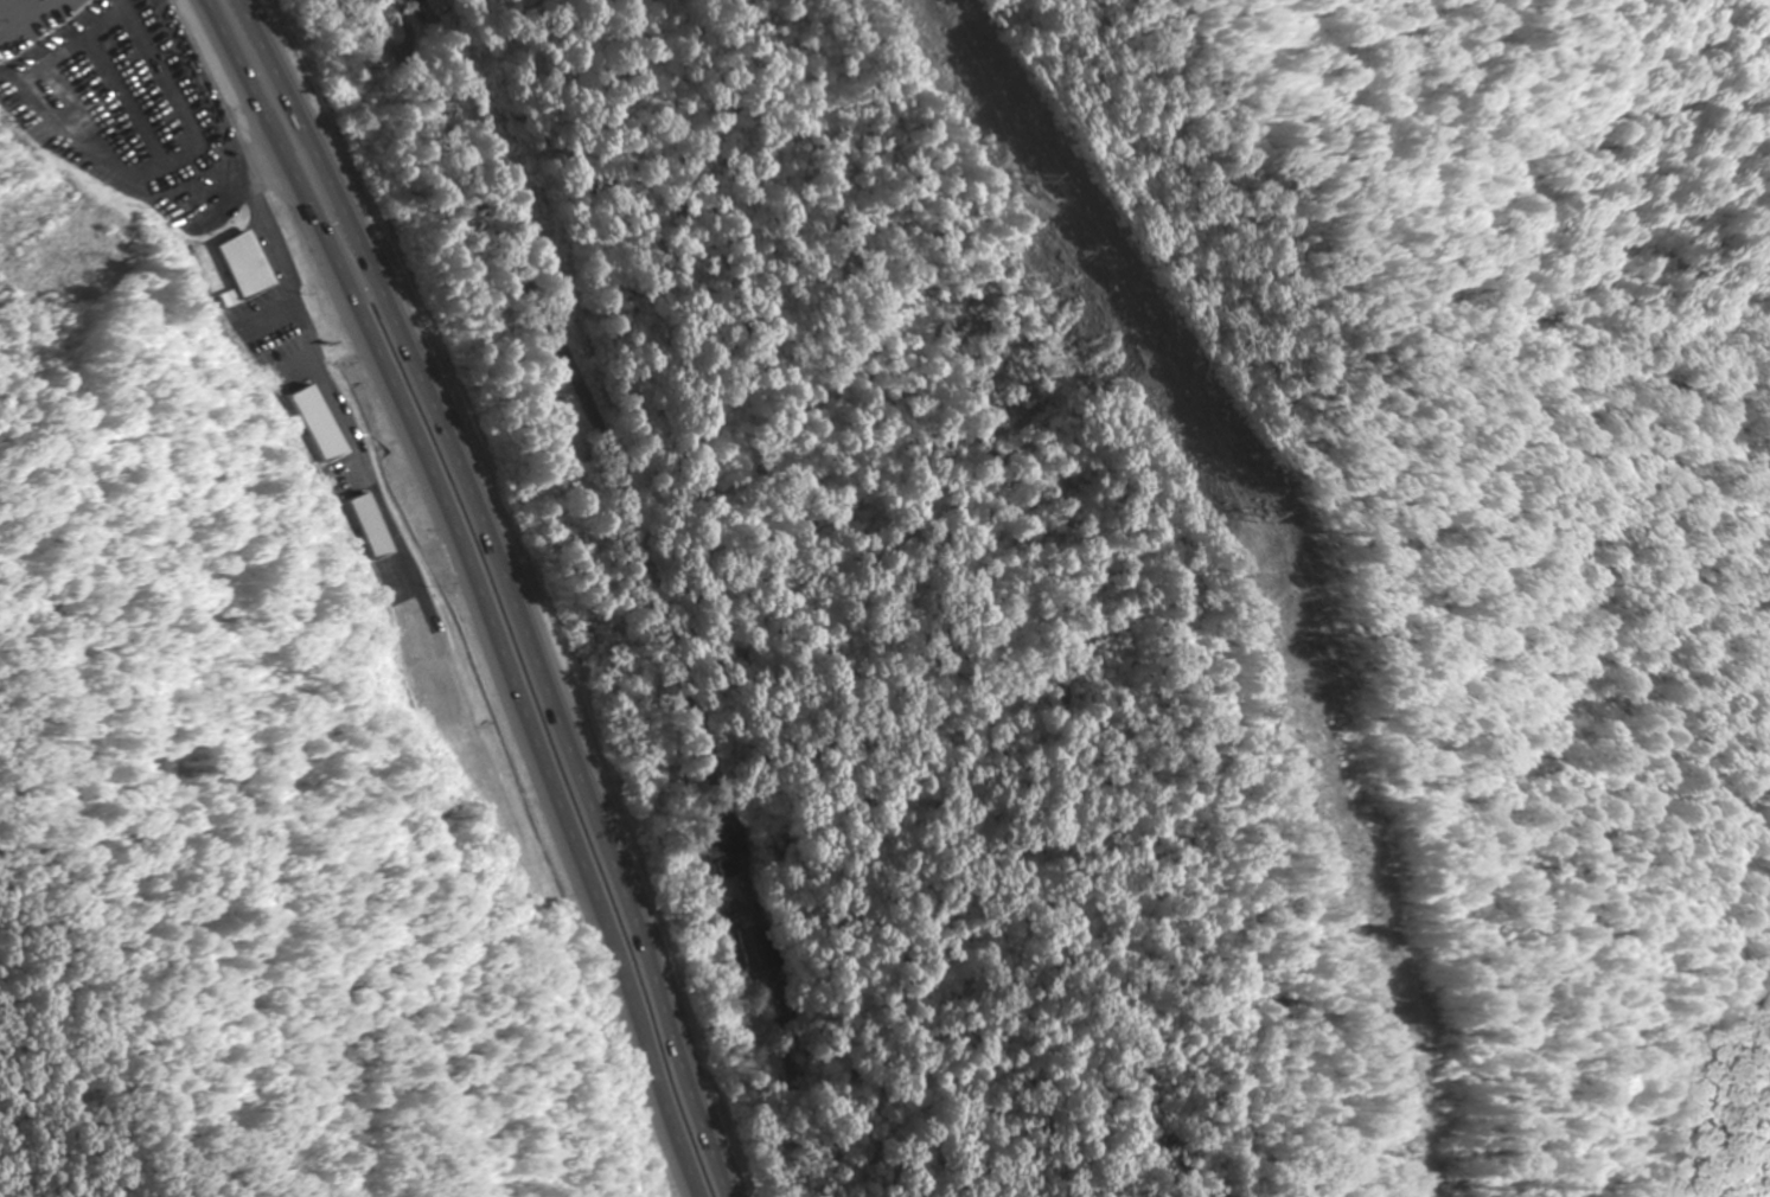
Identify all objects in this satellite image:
building: (68, 90)
building: (242, 265)
road: (593, 443)
road: (472, 589)
road: (511, 589)
building: (722, 858)
building: (755, 953)

